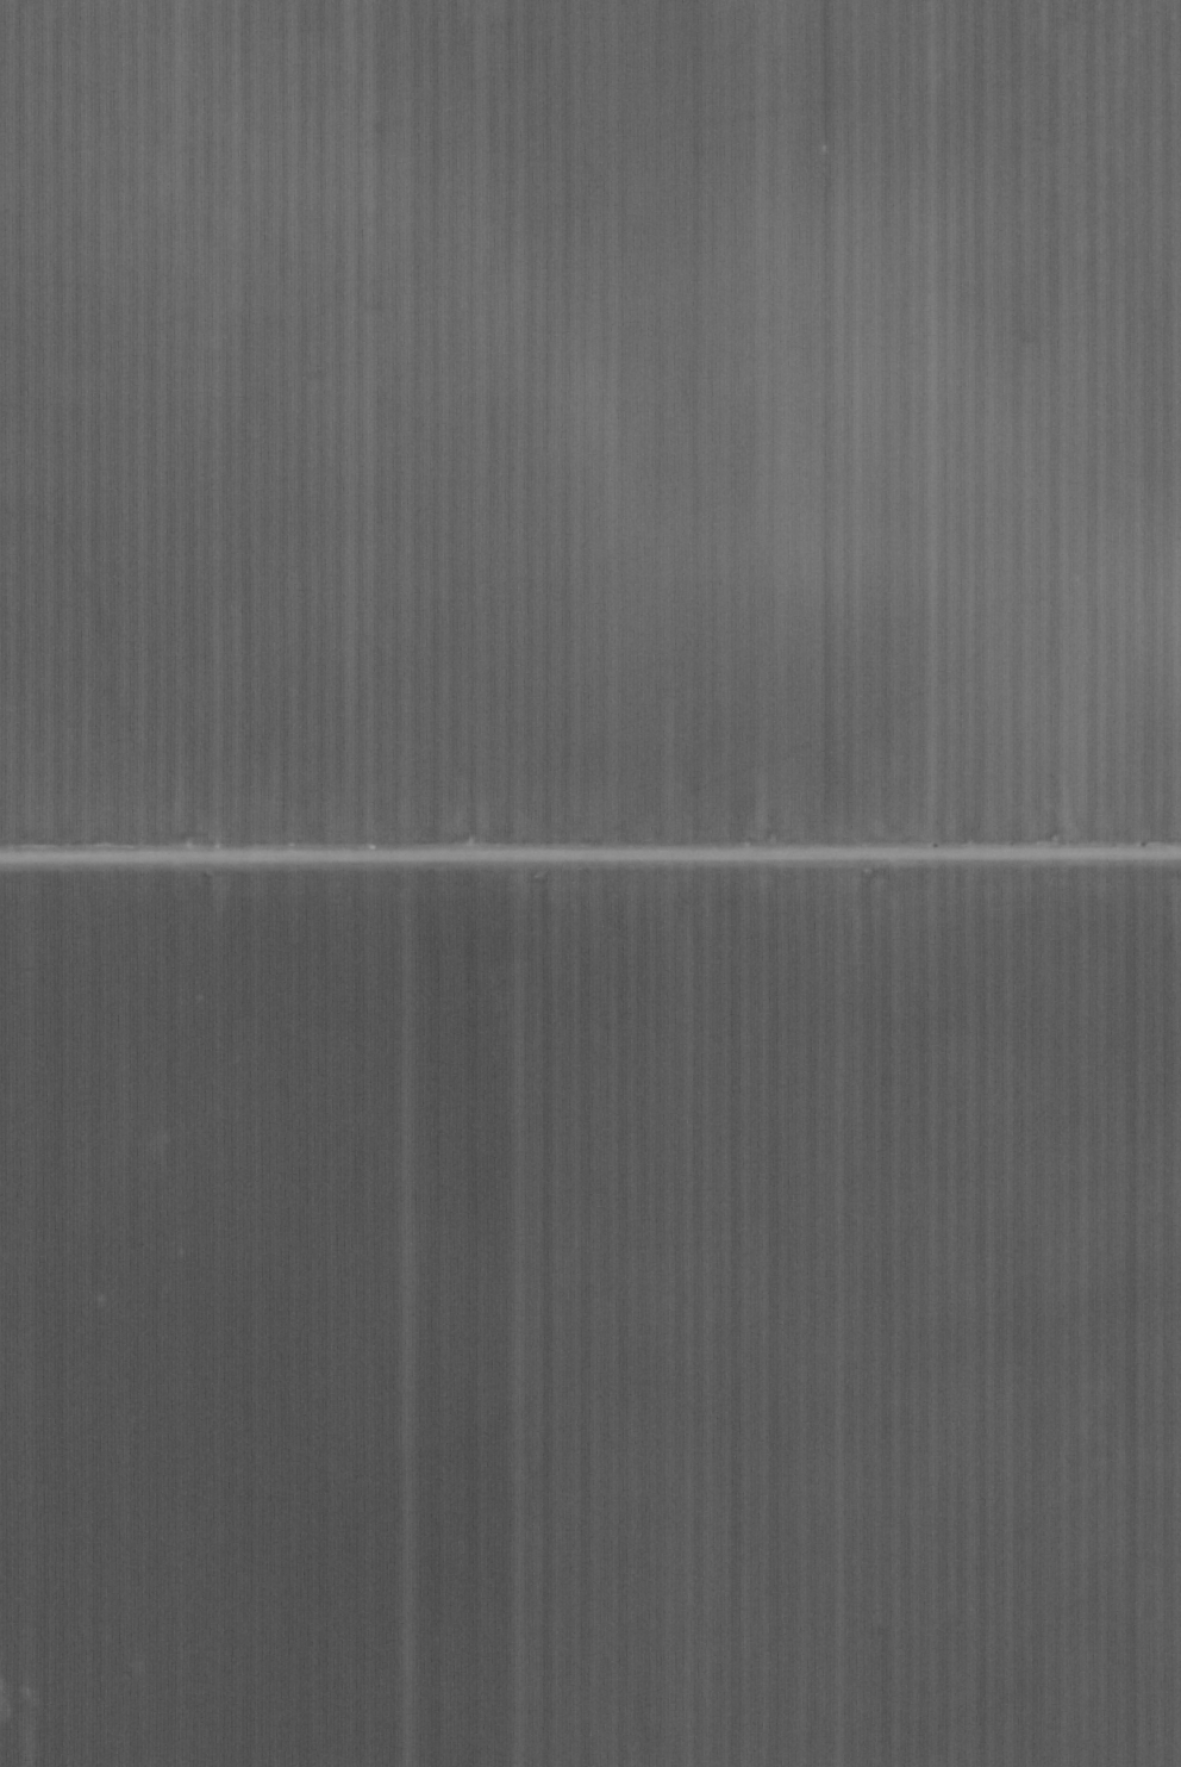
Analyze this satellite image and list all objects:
crop: (589, 430)
road: (590, 864)
crop: (590, 1314)

